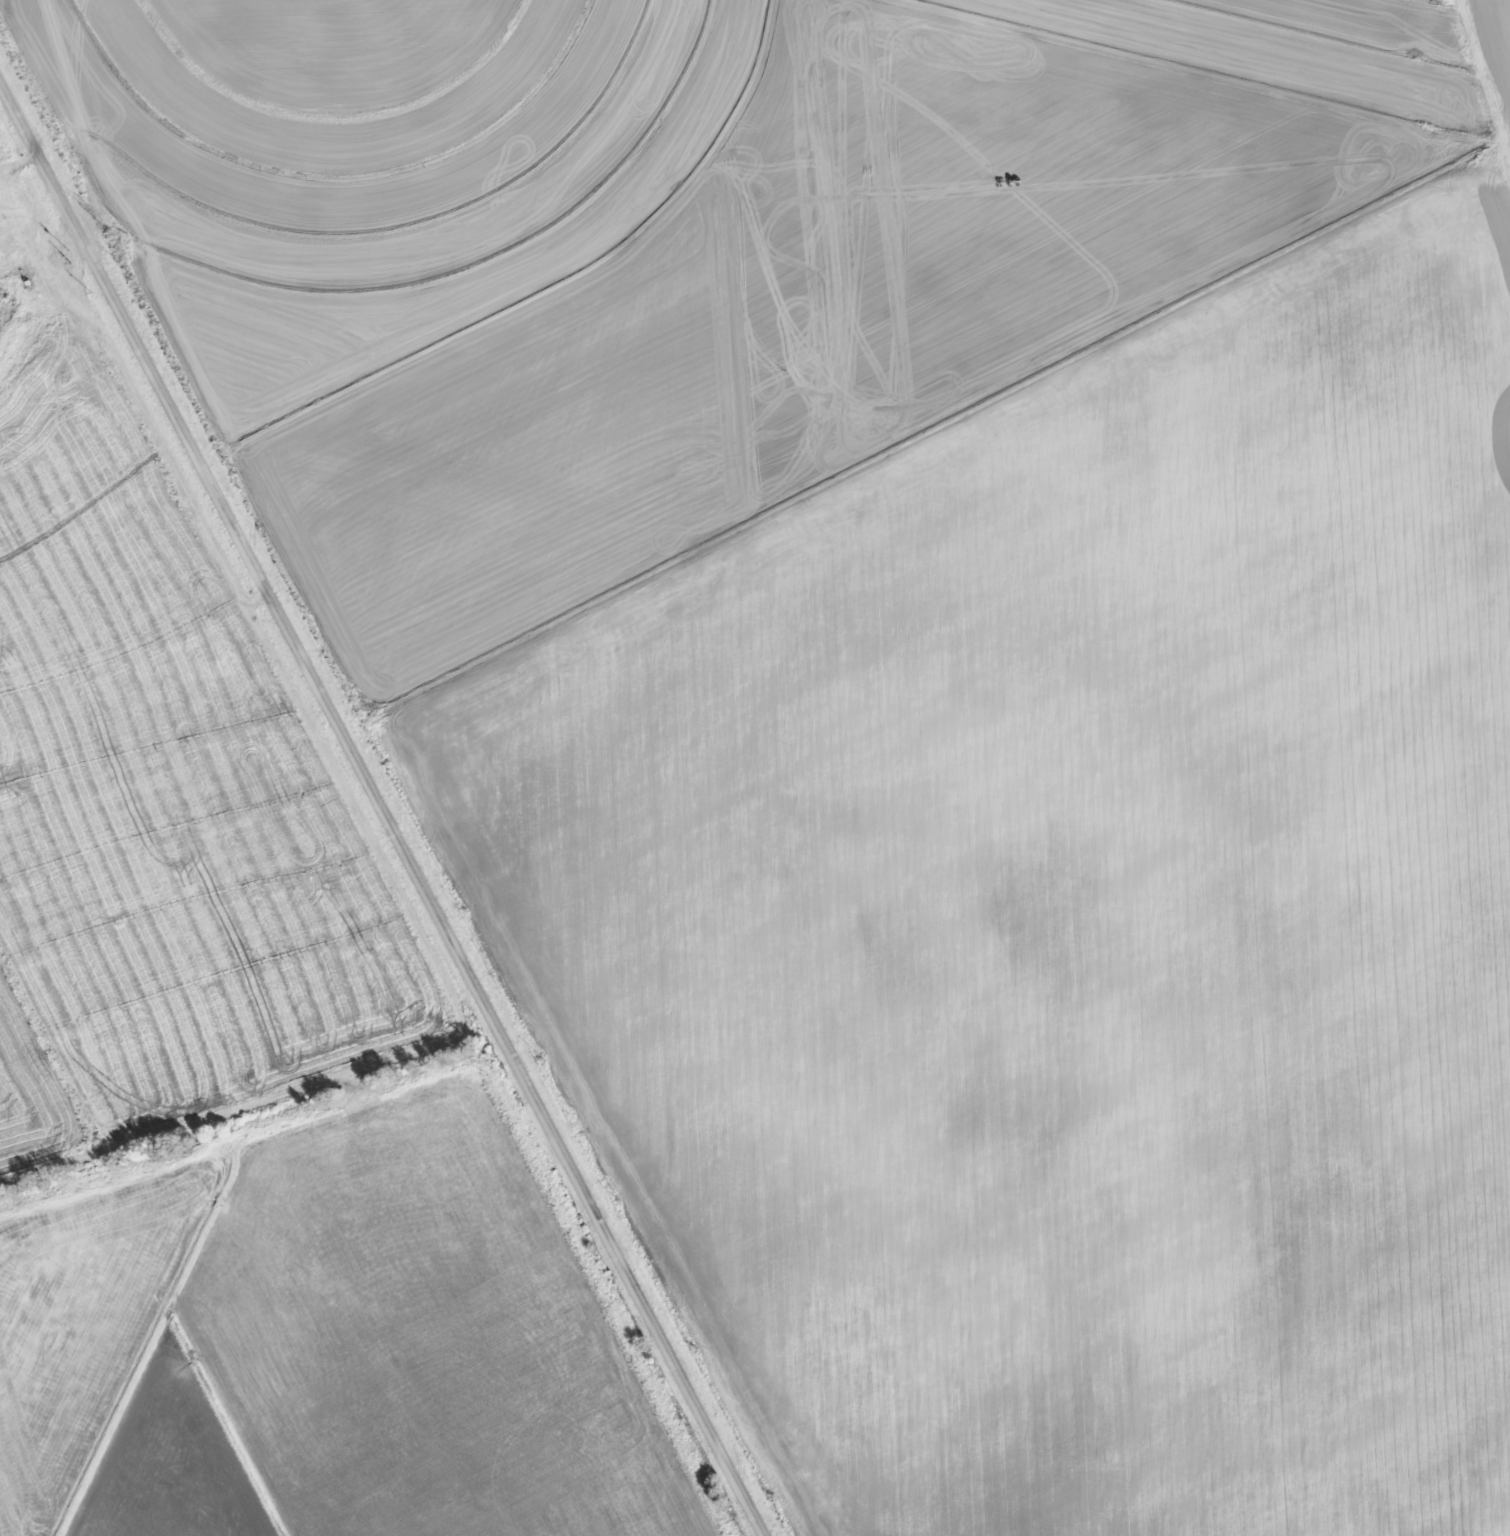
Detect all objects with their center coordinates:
road: (380, 809)

